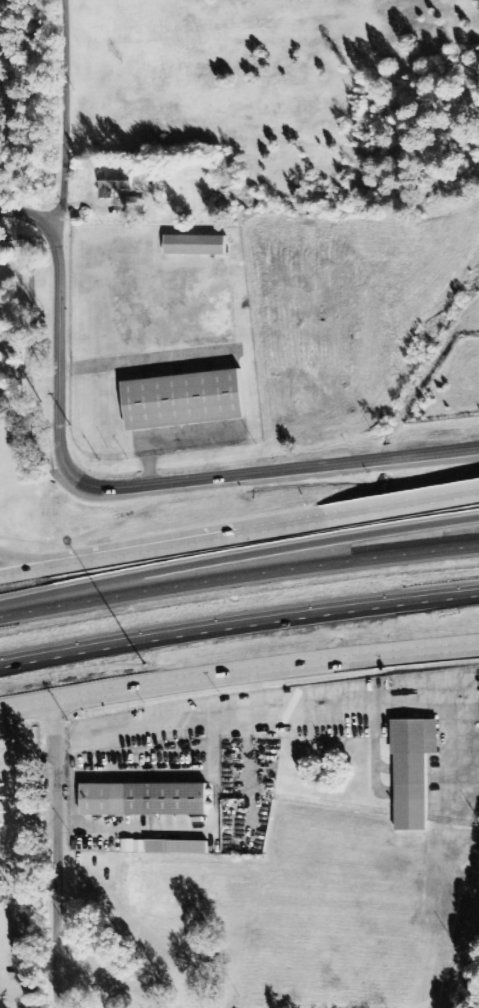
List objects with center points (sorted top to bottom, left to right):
road: (57, 115)
building: (114, 184)
building: (133, 204)
building: (196, 243)
building: (185, 399)
road: (121, 487)
road: (357, 514)
road: (134, 552)
road: (237, 554)
road: (16, 561)
road: (16, 573)
road: (238, 575)
road: (239, 621)
street lamp: (147, 664)
road: (238, 673)
building: (412, 771)
building: (144, 800)
building: (165, 847)
road: (56, 854)
park: (23, 932)
road: (465, 955)

